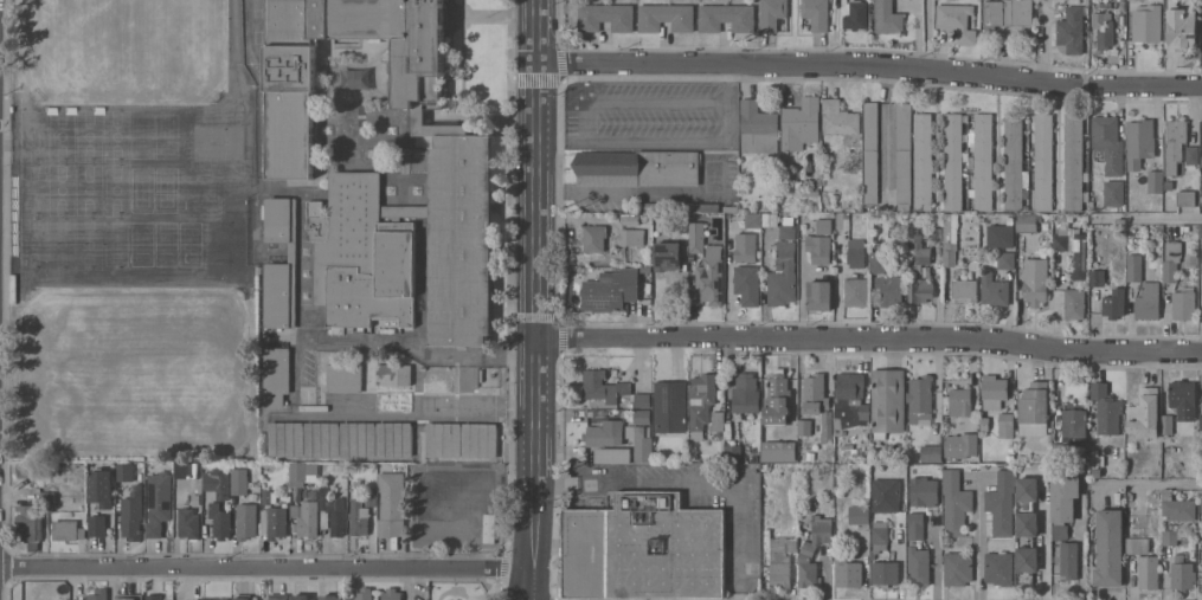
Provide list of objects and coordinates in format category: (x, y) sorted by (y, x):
building: (1008, 13)
building: (771, 14)
building: (816, 14)
building: (856, 14)
building: (605, 17)
building: (666, 17)
building: (726, 17)
building: (888, 17)
building: (957, 21)
building: (1146, 22)
building: (1179, 27)
building: (1104, 28)
building: (1071, 31)
road: (870, 63)
building: (291, 82)
parking lot: (651, 114)
building: (840, 118)
building: (801, 123)
building: (758, 128)
road: (732, 129)
road: (888, 134)
building: (1108, 142)
building: (1140, 142)
building: (1175, 143)
building: (870, 151)
building: (904, 153)
building: (1193, 154)
building: (923, 161)
building: (953, 161)
building: (1043, 161)
building: (983, 162)
building: (1074, 162)
building: (1014, 163)
building: (1201, 163)
building: (637, 168)
building: (1156, 181)
building: (1201, 187)
building: (1114, 192)
road: (626, 194)
building: (1185, 196)
building: (701, 207)
building: (753, 219)
road: (1149, 220)
building: (1026, 222)
building: (824, 225)
building: (1201, 230)
building: (788, 231)
building: (838, 232)
building: (631, 236)
building: (999, 236)
building: (237, 237)
building: (594, 237)
building: (696, 237)
building: (950, 238)
building: (410, 246)
building: (745, 246)
building: (1072, 246)
building: (819, 247)
building: (918, 250)
building: (293, 252)
building: (856, 252)
building: (668, 254)
building: (1007, 259)
building: (1171, 260)
building: (885, 262)
building: (1134, 266)
building: (1201, 272)
building: (783, 275)
building: (709, 277)
building: (1098, 277)
building: (1035, 280)
building: (747, 283)
building: (994, 289)
road: (802, 290)
building: (891, 290)
building: (921, 290)
building: (964, 290)
building: (611, 291)
building: (856, 291)
building: (819, 295)
road: (837, 298)
road: (535, 299)
building: (1149, 301)
building: (1074, 303)
building: (1114, 303)
building: (1183, 303)
road: (869, 336)
building: (277, 374)
building: (394, 374)
building: (345, 378)
building: (603, 386)
building: (995, 387)
building: (815, 393)
building: (746, 394)
building: (1183, 398)
building: (701, 399)
building: (920, 399)
building: (642, 400)
building: (777, 400)
building: (888, 401)
building: (959, 401)
building: (850, 402)
building: (1035, 405)
building: (670, 406)
building: (1106, 408)
building: (1144, 413)
building: (642, 417)
building: (716, 421)
building: (1201, 422)
building: (1005, 425)
building: (1074, 425)
building: (804, 426)
building: (827, 426)
building: (1166, 426)
building: (604, 433)
building: (285, 438)
building: (322, 438)
building: (358, 438)
building: (394, 438)
building: (443, 438)
building: (480, 439)
building: (641, 441)
building: (960, 444)
building: (779, 450)
building: (931, 452)
building: (733, 453)
building: (613, 454)
building: (179, 466)
building: (28, 469)
building: (126, 472)
building: (303, 472)
building: (239, 479)
building: (218, 480)
road: (482, 480)
road: (693, 480)
road: (1150, 485)
building: (102, 488)
building: (924, 491)
building: (181, 492)
building: (886, 495)
building: (266, 498)
building: (1063, 501)
building: (159, 502)
building: (954, 502)
building: (392, 503)
building: (1002, 503)
building: (1177, 507)
building: (1201, 507)
building: (332, 511)
building: (133, 512)
building: (859, 514)
building: (307, 517)
building: (32, 520)
building: (220, 521)
building: (246, 521)
building: (359, 521)
building: (276, 522)
building: (188, 523)
building: (915, 524)
building: (97, 525)
building: (822, 528)
building: (1027, 528)
building: (68, 529)
building: (879, 536)
building: (1170, 536)
road: (977, 538)
building: (1137, 543)
road: (1047, 547)
building: (1110, 547)
building: (643, 548)
road: (1081, 551)
building: (1069, 559)
building: (919, 564)
road: (265, 566)
building: (808, 566)
building: (958, 568)
building: (998, 568)
building: (779, 569)
building: (847, 569)
building: (1149, 572)
building: (885, 574)
building: (1182, 574)
park: (463, 591)
building: (364, 593)
building: (98, 594)
building: (391, 594)
building: (129, 596)
building: (277, 596)
building: (301, 596)
building: (330, 596)
building: (155, 598)
building: (214, 599)
building: (243, 599)

